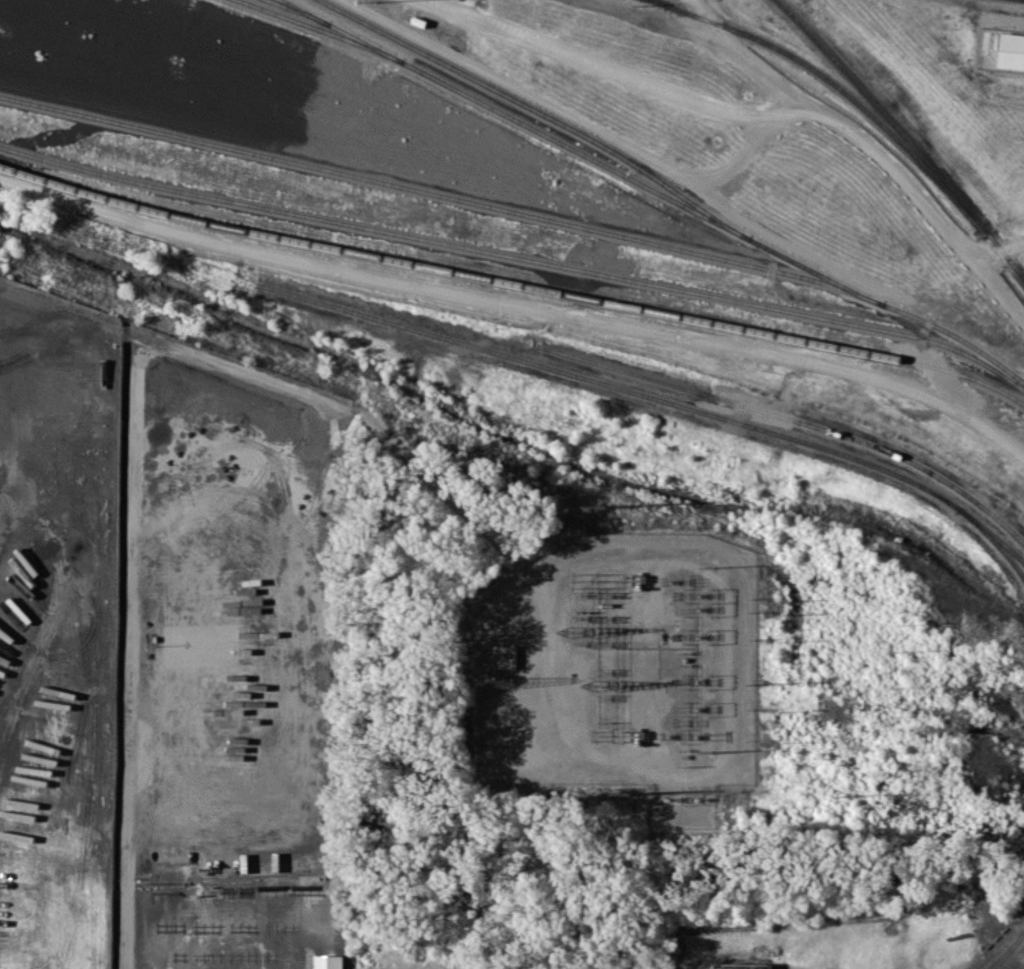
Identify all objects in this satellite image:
railway: (660, 2)
railway: (299, 11)
railway: (322, 29)
road: (742, 50)
building: (1011, 51)
railway: (838, 87)
road: (556, 107)
railway: (541, 112)
road: (759, 123)
railway: (904, 135)
railway: (655, 188)
railway: (443, 193)
road: (794, 244)
road: (1002, 250)
railway: (516, 256)
railway: (513, 282)
road: (517, 308)
railway: (623, 388)
railway: (790, 418)
road: (139, 430)
railway: (994, 540)
building: (502, 655)
power substation: (627, 667)
railway: (1007, 950)
building: (330, 962)
building: (747, 966)
building: (475, 968)

